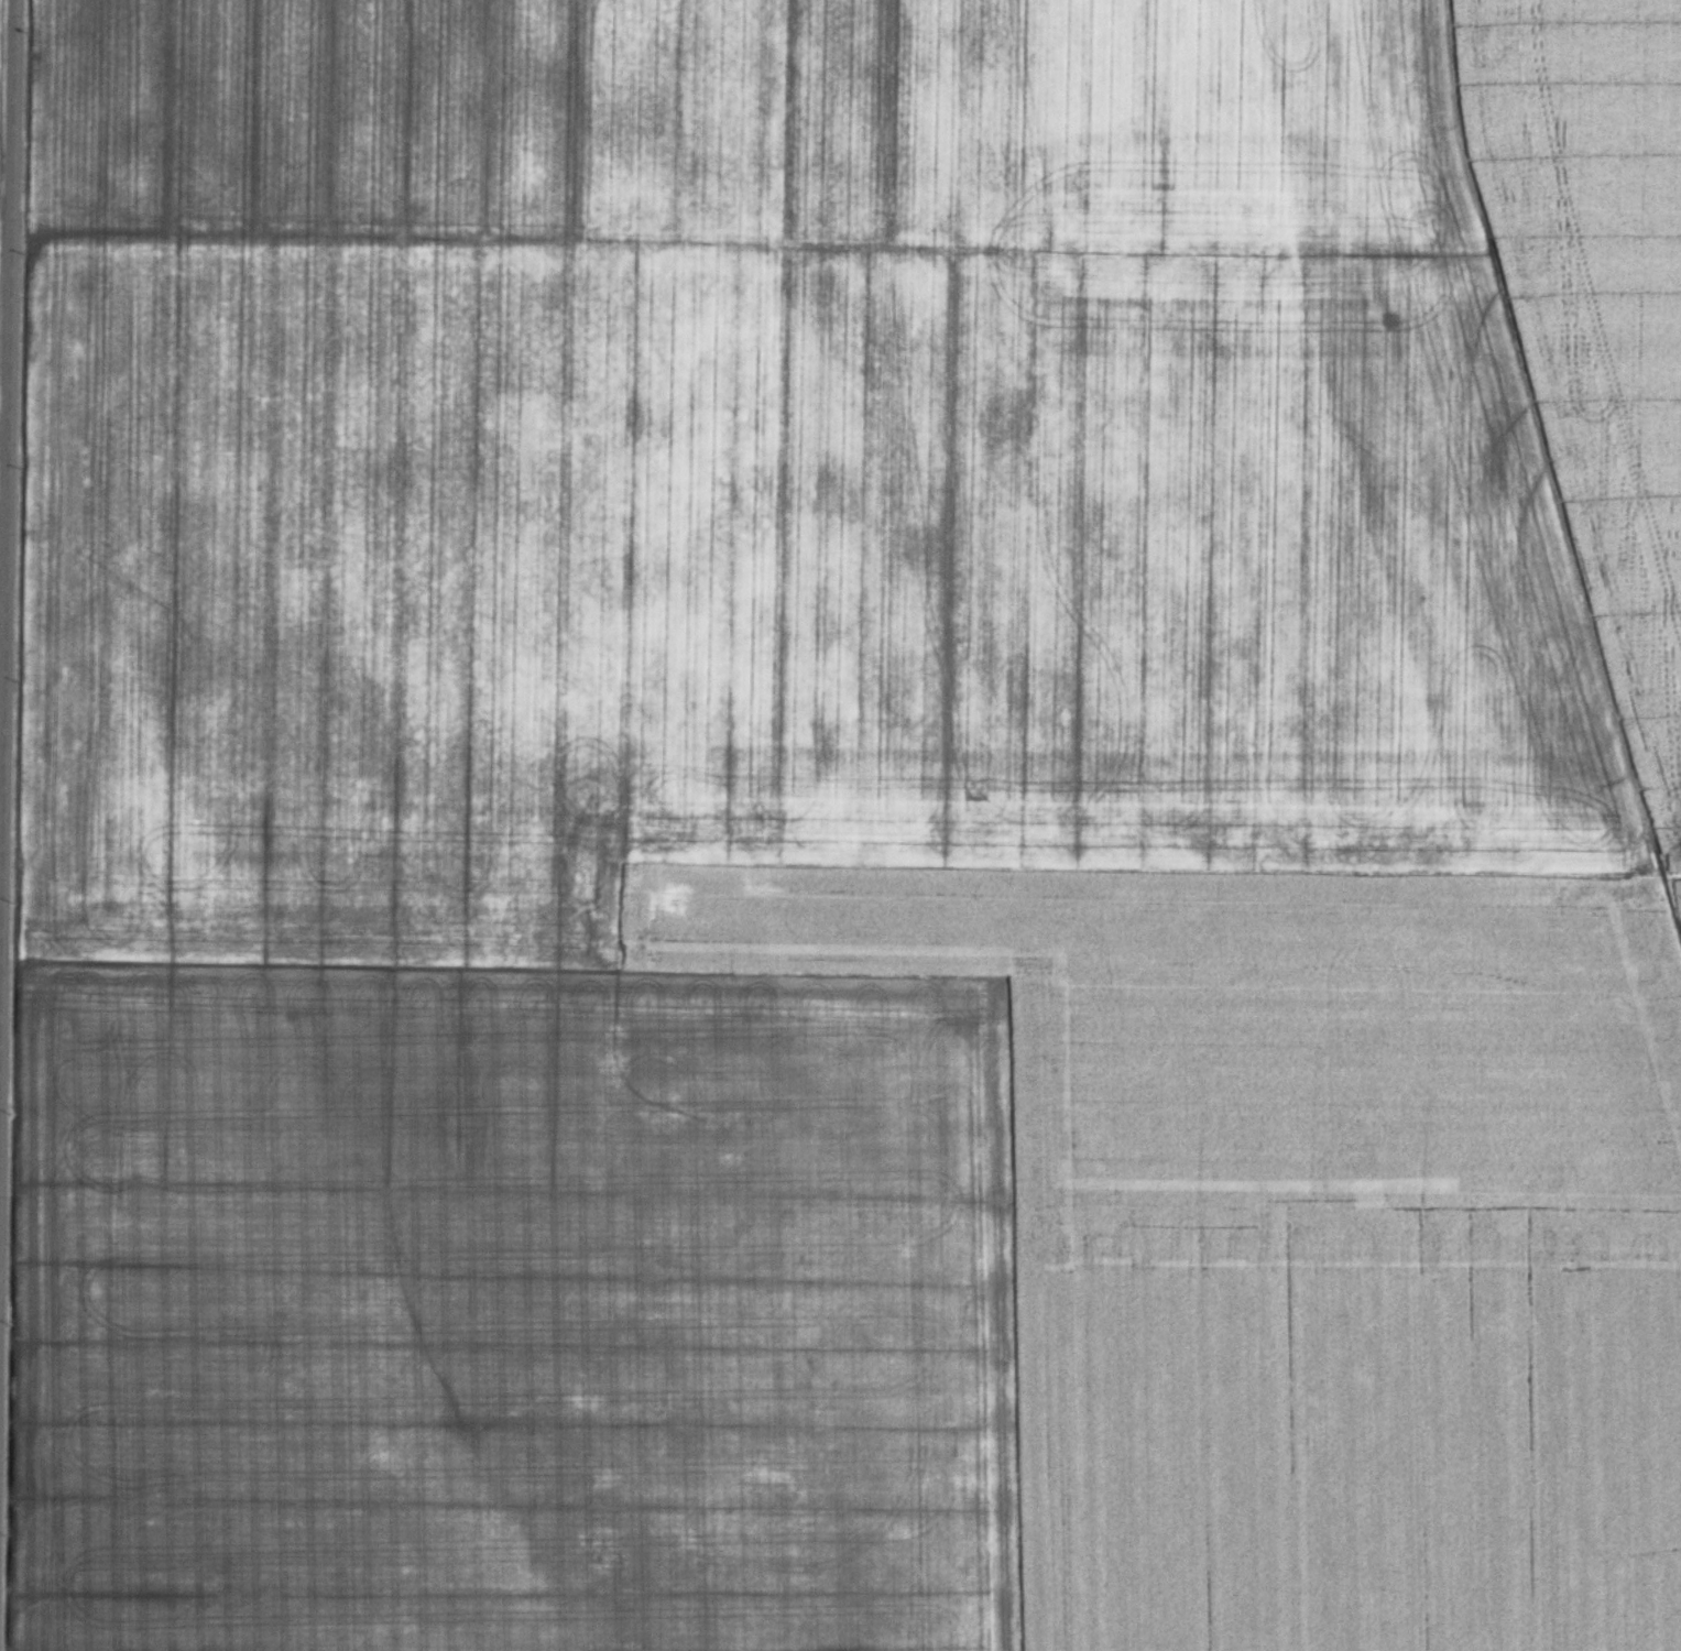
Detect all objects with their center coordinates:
road: (7, 451)

